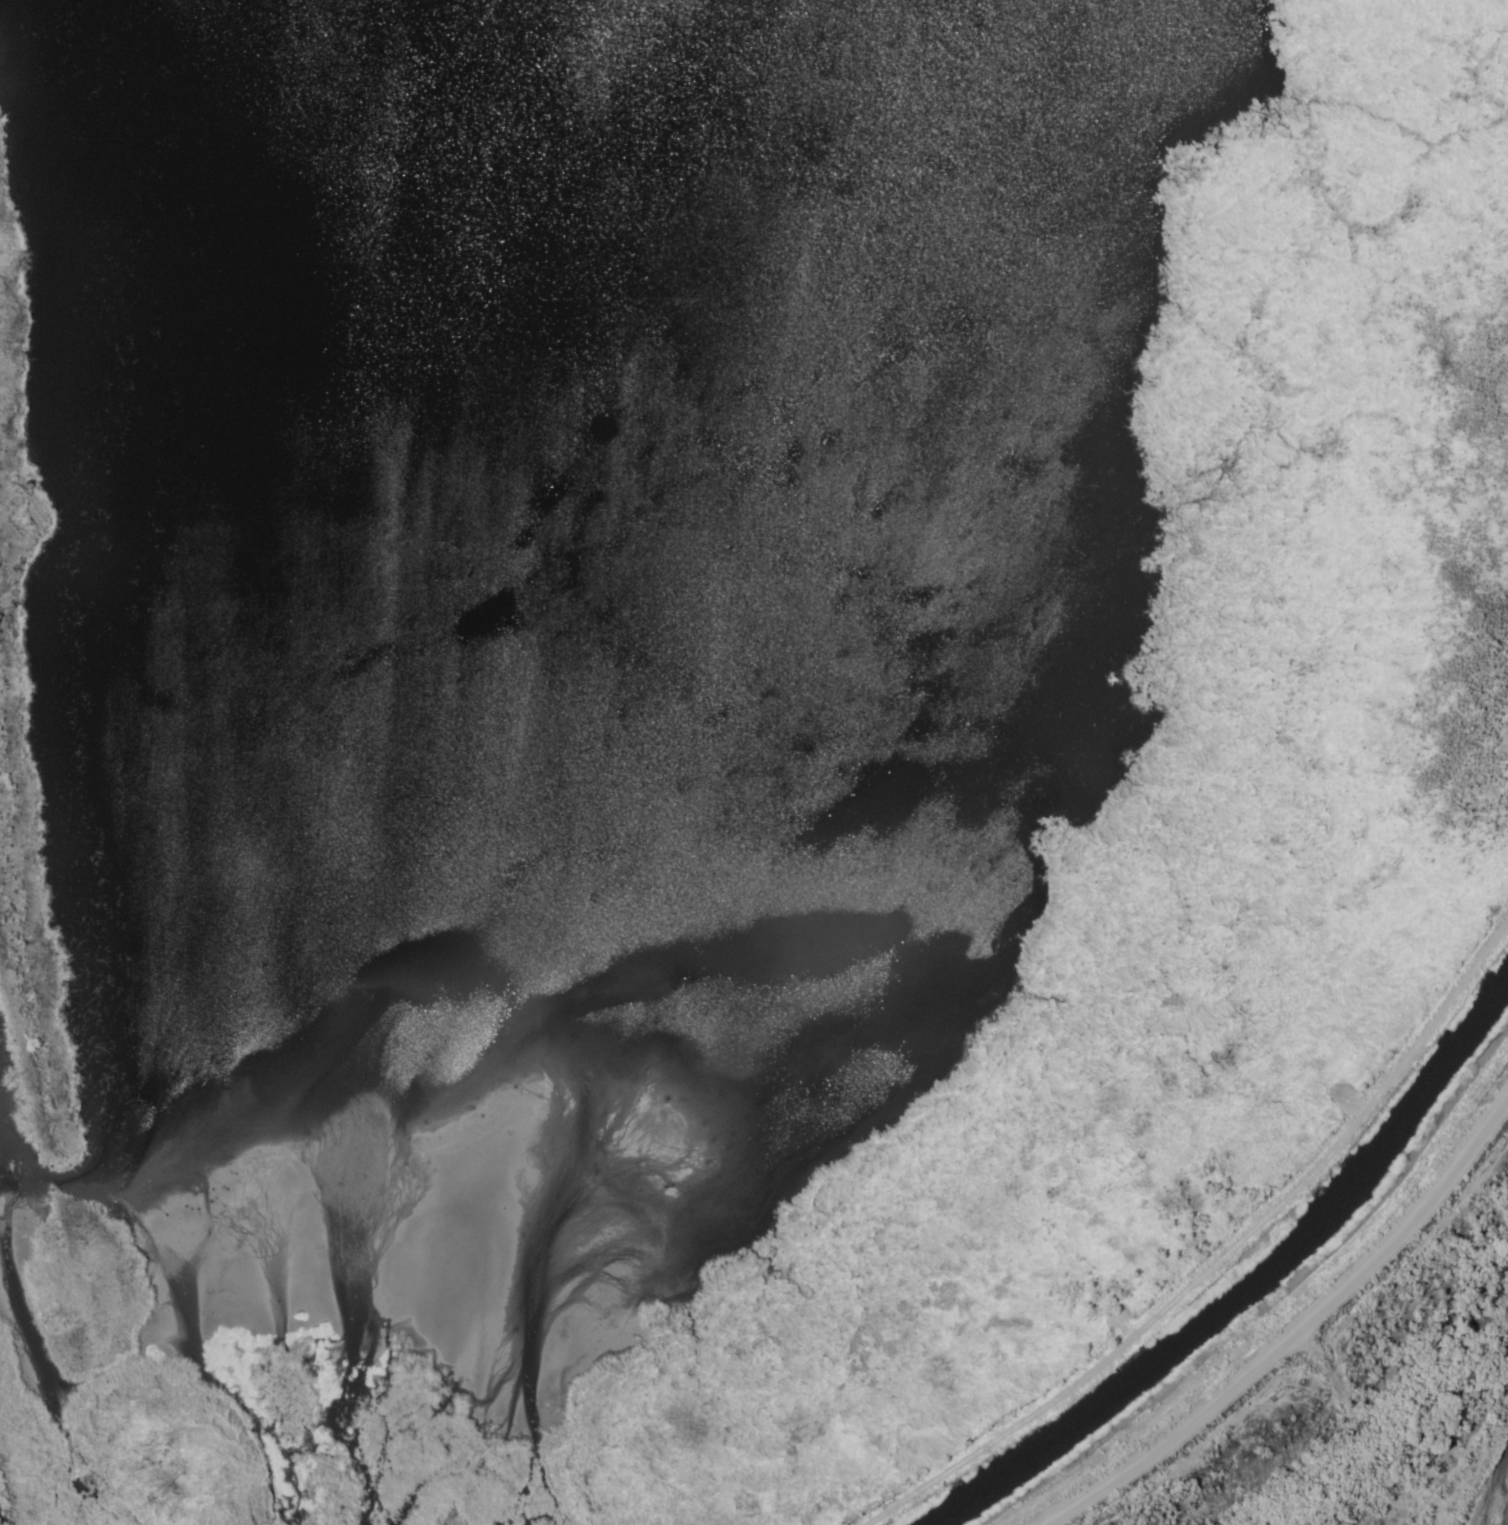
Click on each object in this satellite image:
road: (1218, 1256)
road: (1299, 1334)
river: (1496, 1500)

